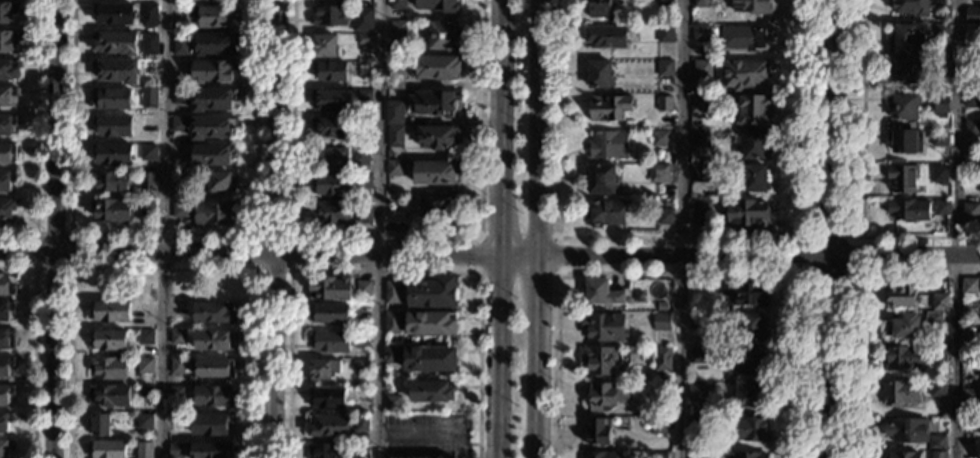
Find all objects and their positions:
building: (338, 0)
building: (665, 3)
building: (701, 3)
building: (397, 4)
building: (439, 5)
building: (917, 6)
building: (751, 7)
building: (600, 9)
building: (7, 12)
building: (115, 14)
building: (149, 15)
building: (972, 15)
building: (212, 16)
building: (330, 17)
building: (362, 19)
building: (397, 28)
building: (700, 34)
building: (941, 34)
building: (665, 35)
building: (444, 36)
building: (605, 37)
building: (364, 39)
building: (747, 39)
building: (7, 41)
building: (906, 41)
building: (115, 43)
building: (148, 44)
building: (215, 44)
building: (181, 45)
building: (325, 46)
building: (437, 67)
building: (665, 68)
building: (8, 69)
building: (702, 69)
building: (942, 69)
building: (116, 71)
building: (330, 71)
building: (212, 72)
building: (907, 72)
building: (599, 75)
building: (744, 75)
building: (395, 78)
building: (180, 95)
building: (7, 96)
building: (149, 98)
building: (364, 98)
building: (111, 99)
building: (212, 99)
building: (972, 99)
building: (332, 101)
building: (433, 102)
building: (664, 104)
building: (700, 104)
building: (941, 104)
building: (904, 106)
building: (609, 108)
building: (754, 110)
building: (394, 112)
building: (6, 124)
building: (179, 124)
building: (112, 126)
building: (700, 126)
building: (212, 127)
building: (332, 127)
building: (972, 129)
road: (35, 133)
building: (395, 136)
building: (438, 137)
building: (940, 138)
building: (660, 139)
building: (701, 139)
building: (907, 141)
building: (754, 144)
building: (609, 145)
building: (148, 153)
building: (7, 154)
building: (113, 154)
building: (213, 155)
building: (361, 156)
building: (970, 156)
building: (328, 158)
building: (393, 168)
building: (635, 172)
building: (435, 173)
building: (659, 174)
building: (699, 174)
building: (940, 174)
road: (862, 177)
building: (903, 178)
building: (601, 179)
building: (756, 179)
building: (179, 180)
building: (6, 181)
building: (111, 181)
building: (364, 181)
building: (147, 182)
building: (220, 182)
building: (334, 185)
building: (667, 203)
building: (147, 208)
building: (942, 208)
building: (6, 209)
building: (180, 209)
building: (112, 210)
building: (909, 210)
building: (440, 211)
building: (971, 212)
building: (213, 213)
building: (331, 213)
building: (606, 213)
building: (702, 213)
building: (364, 214)
building: (746, 214)
building: (665, 217)
building: (395, 221)
road: (54, 228)
road: (163, 228)
road: (272, 229)
road: (379, 229)
road: (498, 229)
road: (539, 229)
road: (683, 229)
road: (832, 229)
road: (958, 229)
road: (163, 236)
road: (385, 237)
road: (676, 237)
road: (799, 237)
road: (292, 256)
road: (782, 256)
road: (68, 268)
road: (162, 268)
road: (256, 269)
road: (383, 272)
road: (480, 272)
road: (678, 273)
building: (7, 286)
building: (970, 286)
building: (363, 288)
building: (330, 289)
building: (392, 292)
building: (432, 293)
building: (603, 293)
building: (746, 295)
building: (902, 296)
building: (940, 302)
road: (861, 305)
building: (662, 307)
building: (972, 309)
building: (6, 310)
building: (110, 312)
building: (214, 313)
building: (329, 314)
building: (934, 320)
building: (662, 322)
building: (392, 323)
building: (698, 323)
building: (431, 324)
building: (605, 327)
building: (903, 327)
building: (753, 328)
building: (146, 337)
building: (178, 338)
building: (971, 338)
building: (6, 339)
building: (108, 340)
building: (214, 340)
building: (361, 340)
building: (331, 342)
road: (34, 345)
building: (937, 353)
building: (391, 354)
building: (698, 356)
building: (904, 358)
building: (429, 359)
building: (662, 359)
building: (748, 360)
building: (600, 361)
building: (361, 364)
building: (145, 365)
building: (6, 366)
building: (177, 367)
building: (108, 368)
building: (214, 368)
building: (323, 370)
building: (140, 376)
building: (661, 377)
building: (395, 385)
building: (938, 389)
building: (145, 391)
building: (431, 392)
building: (696, 393)
building: (901, 393)
building: (5, 394)
building: (749, 394)
building: (176, 395)
building: (361, 395)
building: (108, 396)
building: (214, 396)
building: (969, 396)
building: (604, 397)
building: (327, 398)
building: (393, 403)
building: (647, 411)
building: (5, 421)
building: (142, 422)
building: (698, 422)
building: (361, 424)
building: (969, 424)
building: (99, 425)
building: (211, 425)
building: (657, 425)
building: (329, 427)
building: (750, 429)
building: (908, 430)
building: (598, 433)
road: (413, 436)
road: (466, 442)
road: (473, 443)
building: (937, 443)
building: (6, 447)
building: (359, 448)
building: (107, 449)
building: (144, 450)
building: (176, 450)
building: (211, 450)
building: (327, 451)
building: (698, 454)
building: (826, 454)
building: (938, 454)
building: (602, 455)
building: (658, 455)
building: (905, 455)
building: (744, 456)

